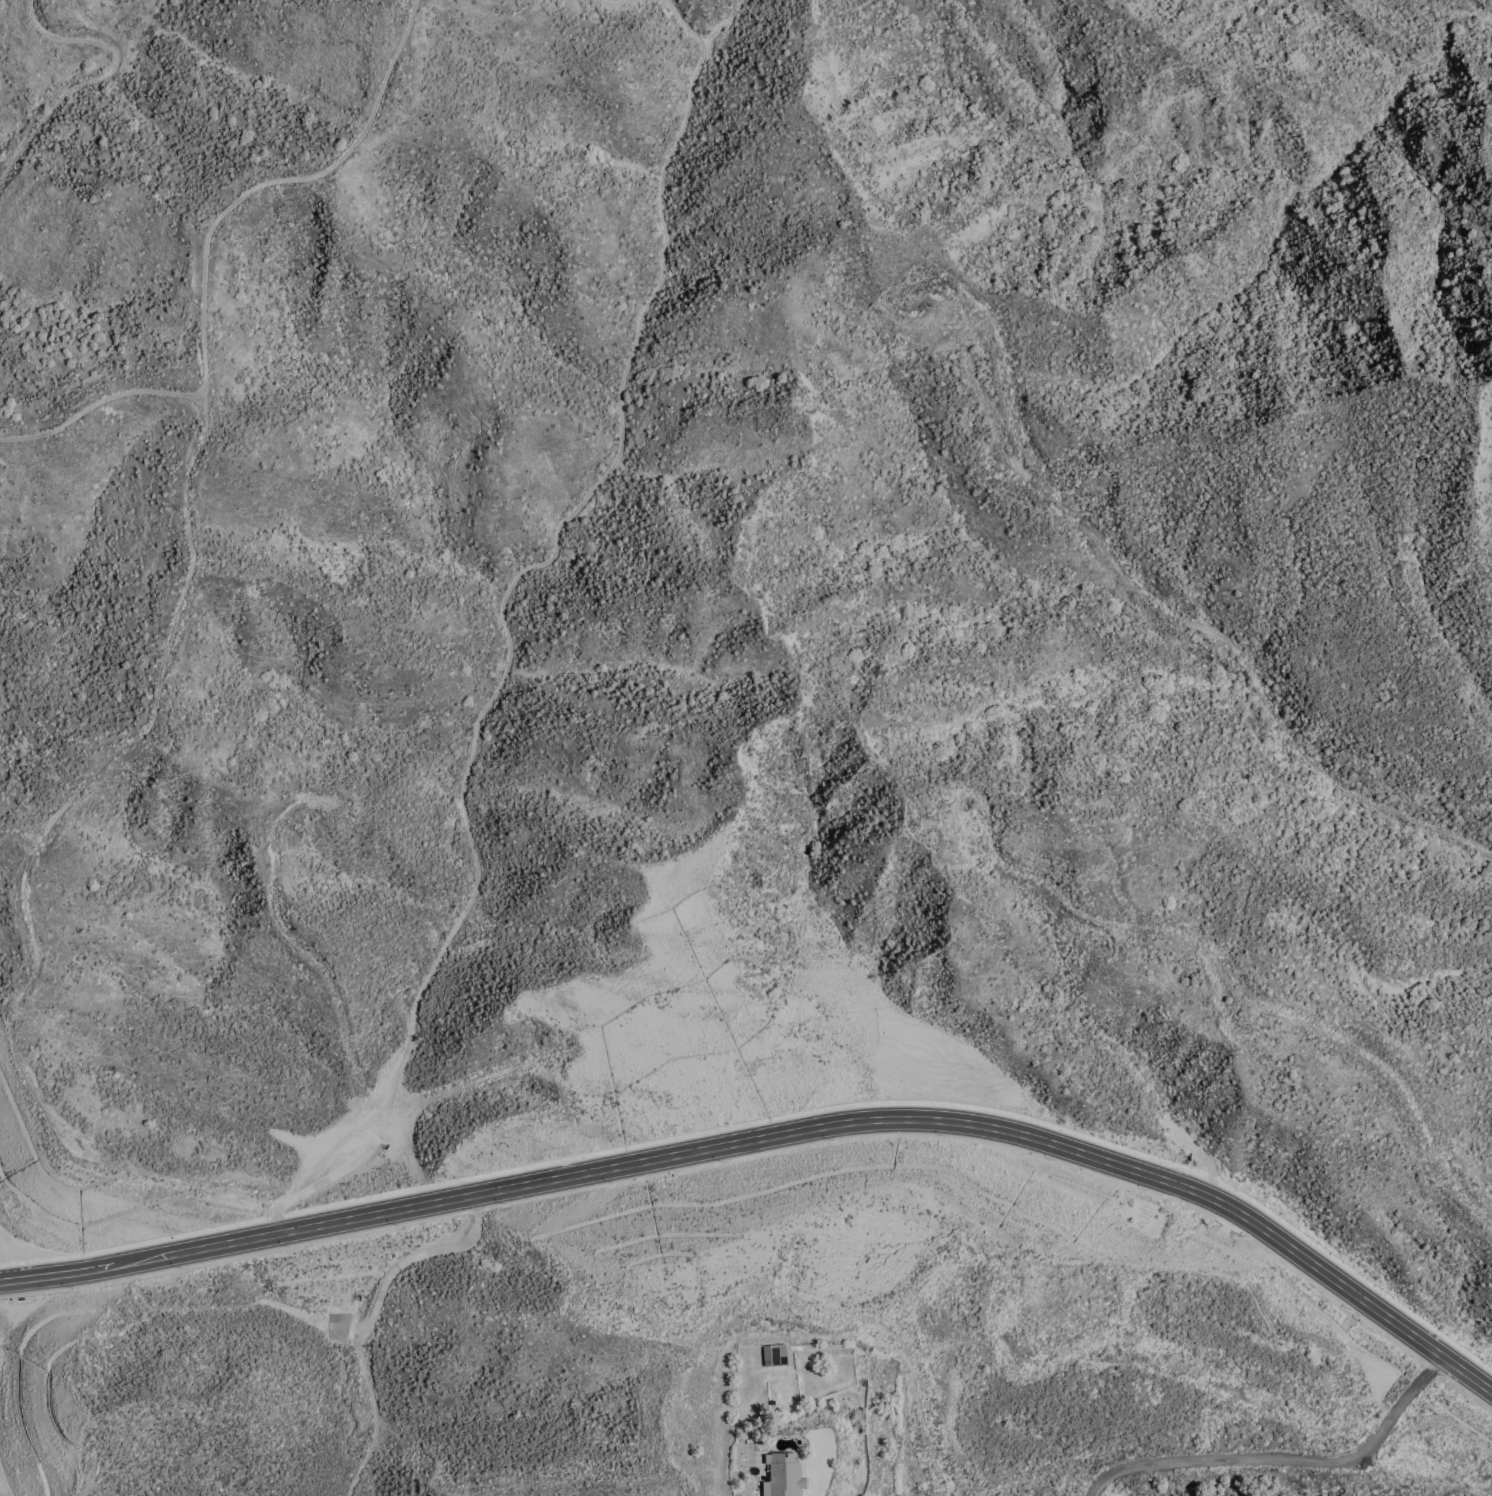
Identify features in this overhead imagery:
road: (480, 1193)
road: (1218, 1201)
building: (775, 1354)
road: (1466, 1372)
road: (1282, 1457)
building: (784, 1475)

